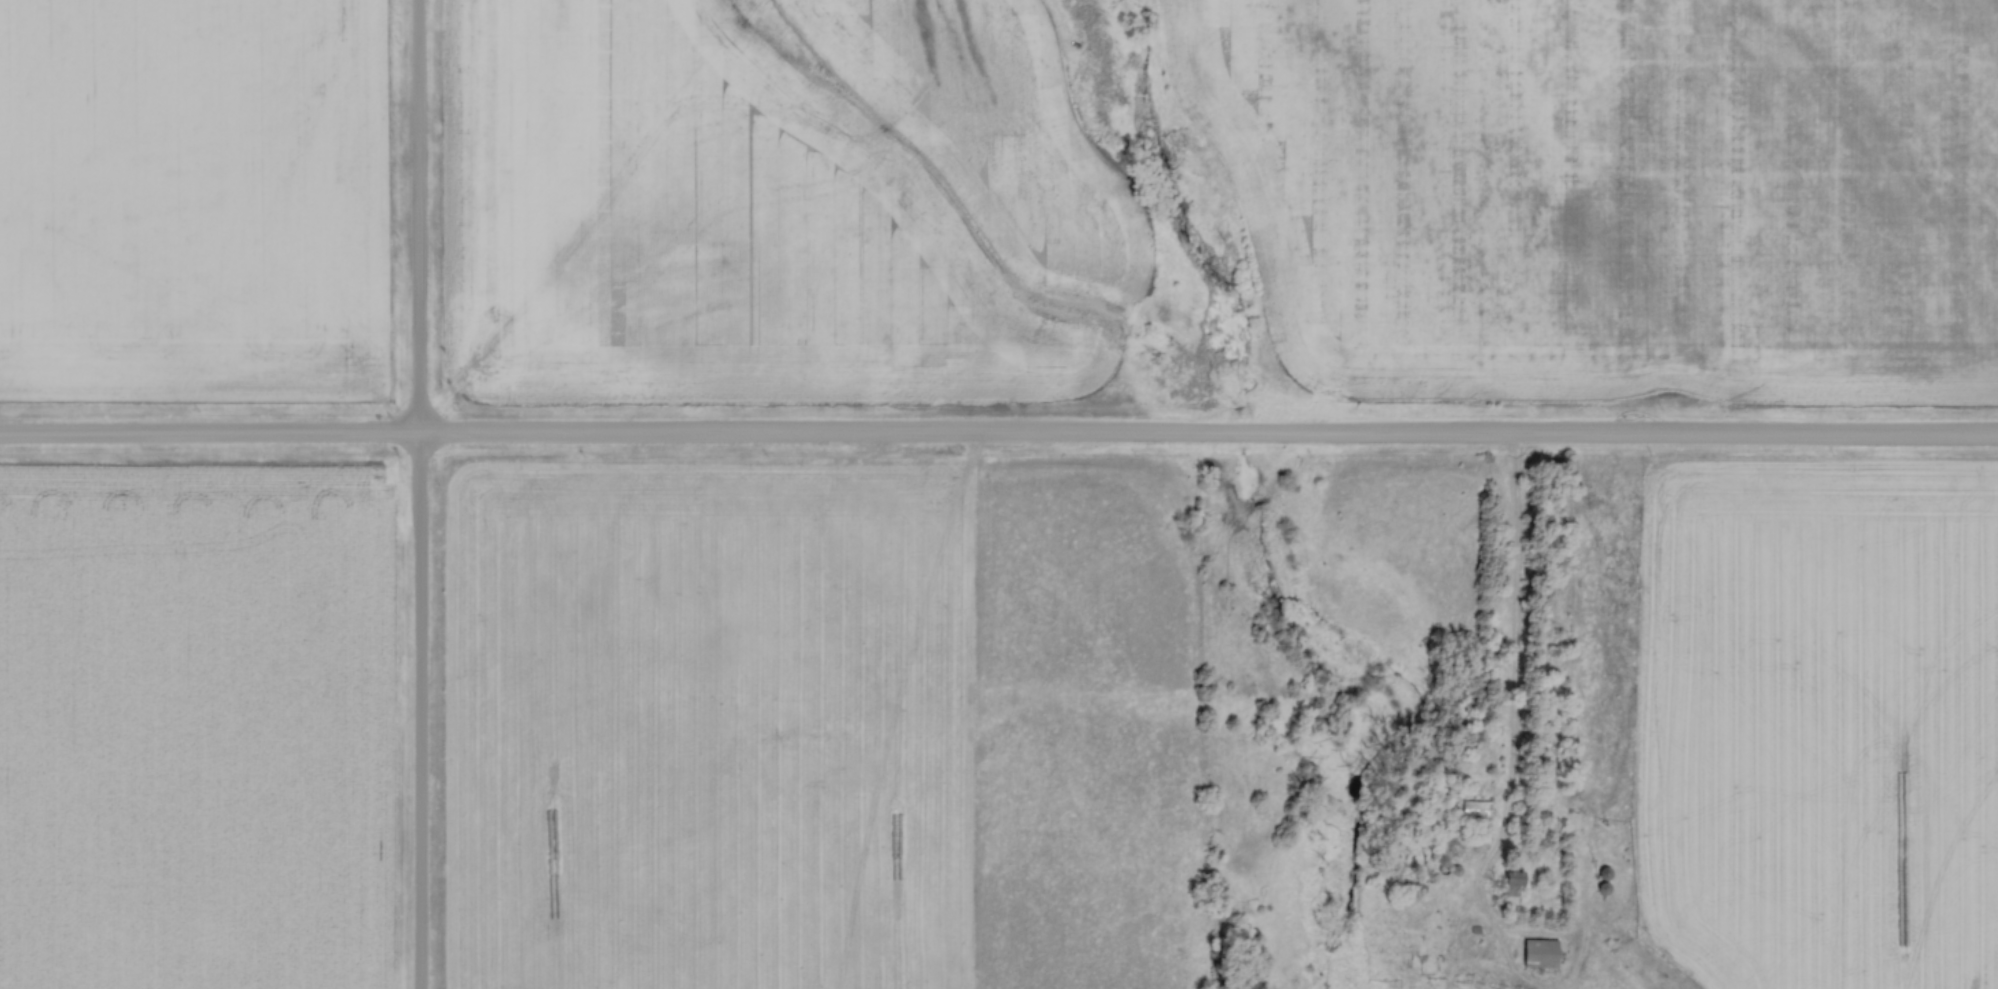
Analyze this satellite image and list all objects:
road: (998, 439)
road: (420, 494)
road: (1515, 652)
building: (1486, 813)
building: (1545, 954)

